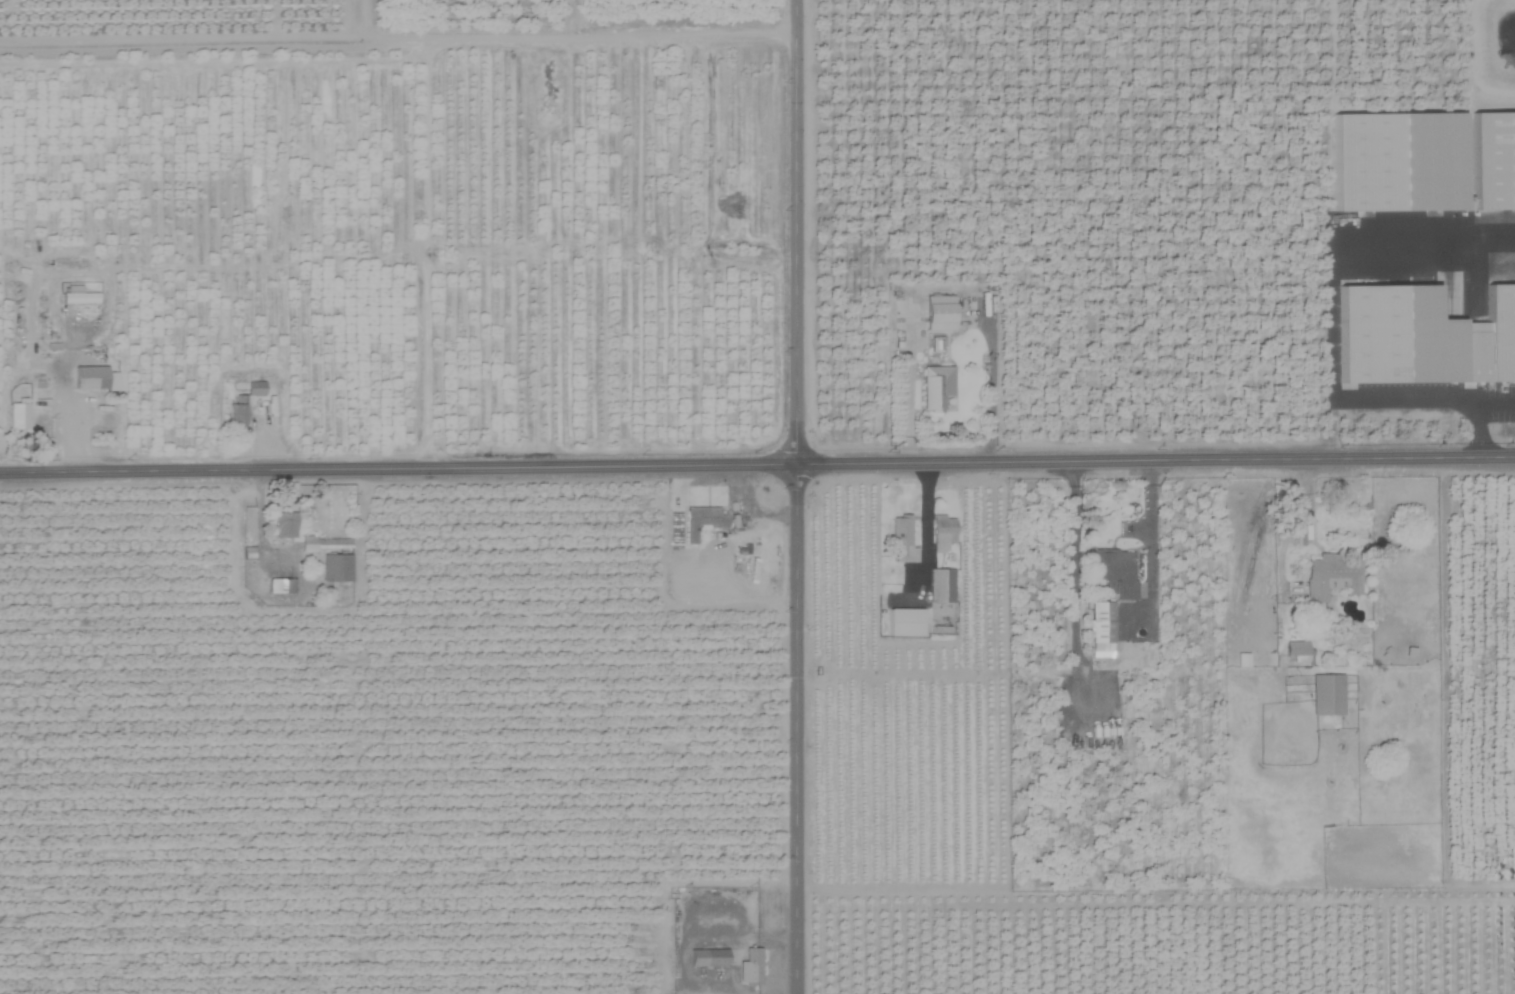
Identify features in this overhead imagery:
road: (360, 17)
road: (399, 34)
building: (1492, 161)
road: (420, 251)
building: (78, 298)
building: (982, 298)
road: (1325, 311)
building: (937, 313)
building: (1499, 332)
building: (88, 378)
building: (934, 386)
building: (252, 388)
road: (63, 398)
road: (1495, 403)
building: (235, 410)
road: (905, 414)
building: (16, 416)
road: (1476, 431)
road: (757, 465)
road: (792, 496)
building: (701, 521)
building: (281, 524)
road: (921, 527)
building: (941, 532)
building: (900, 540)
building: (321, 543)
building: (726, 548)
building: (335, 568)
building: (1113, 569)
building: (1329, 576)
building: (279, 585)
building: (939, 585)
building: (1099, 629)
building: (1294, 652)
building: (1325, 694)
building: (706, 958)
building: (748, 966)

